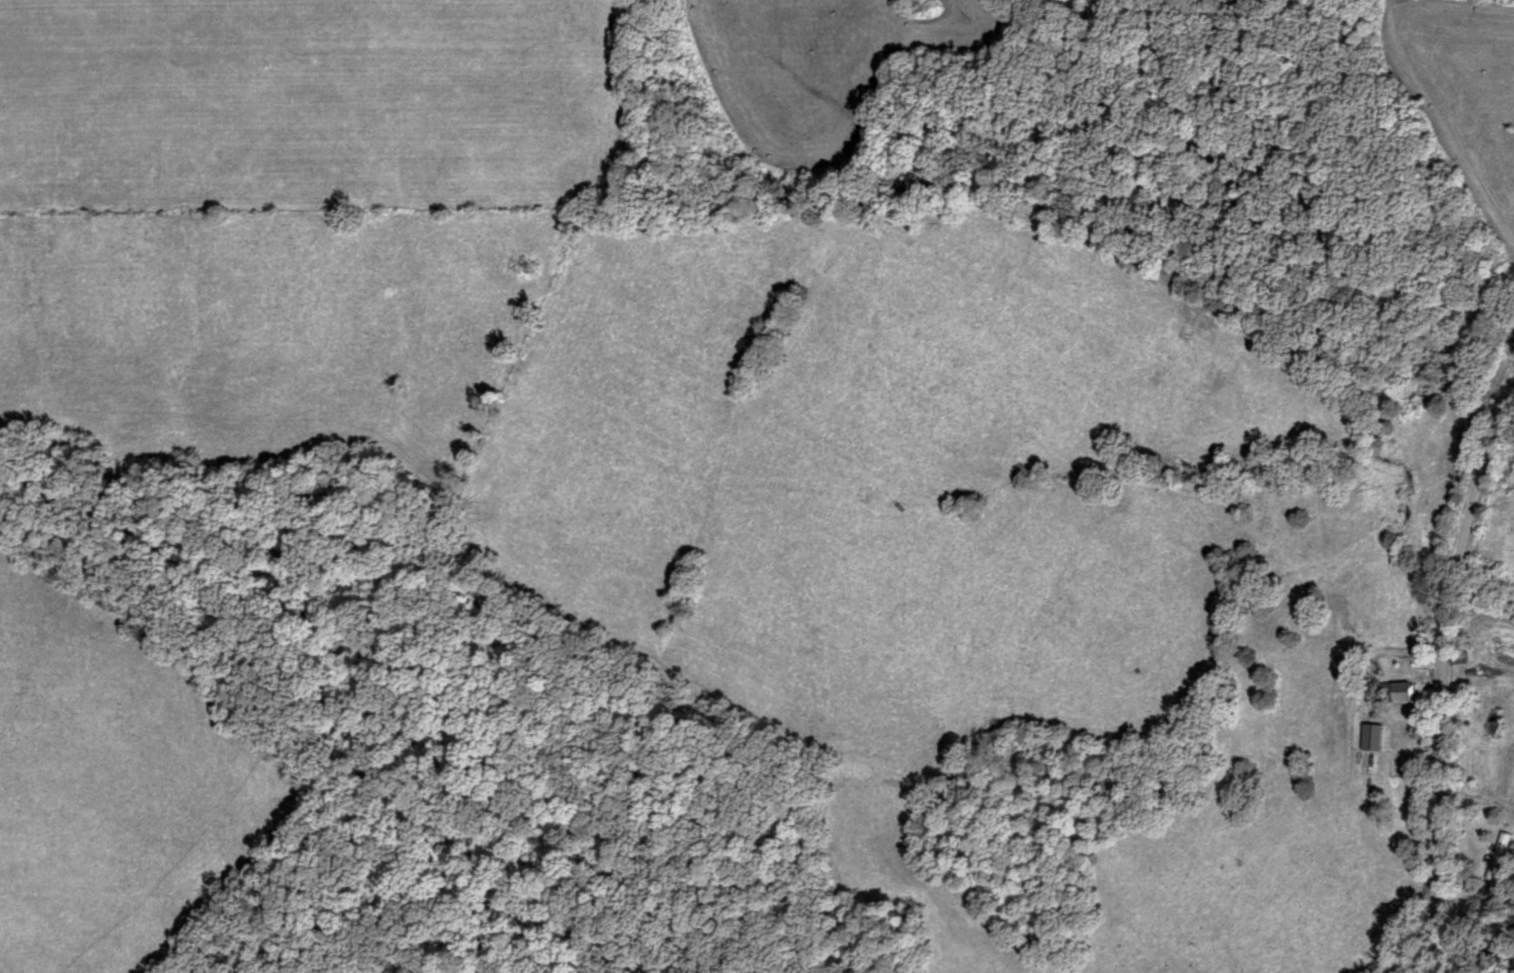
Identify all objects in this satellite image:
road: (1450, 684)
building: (1405, 690)

